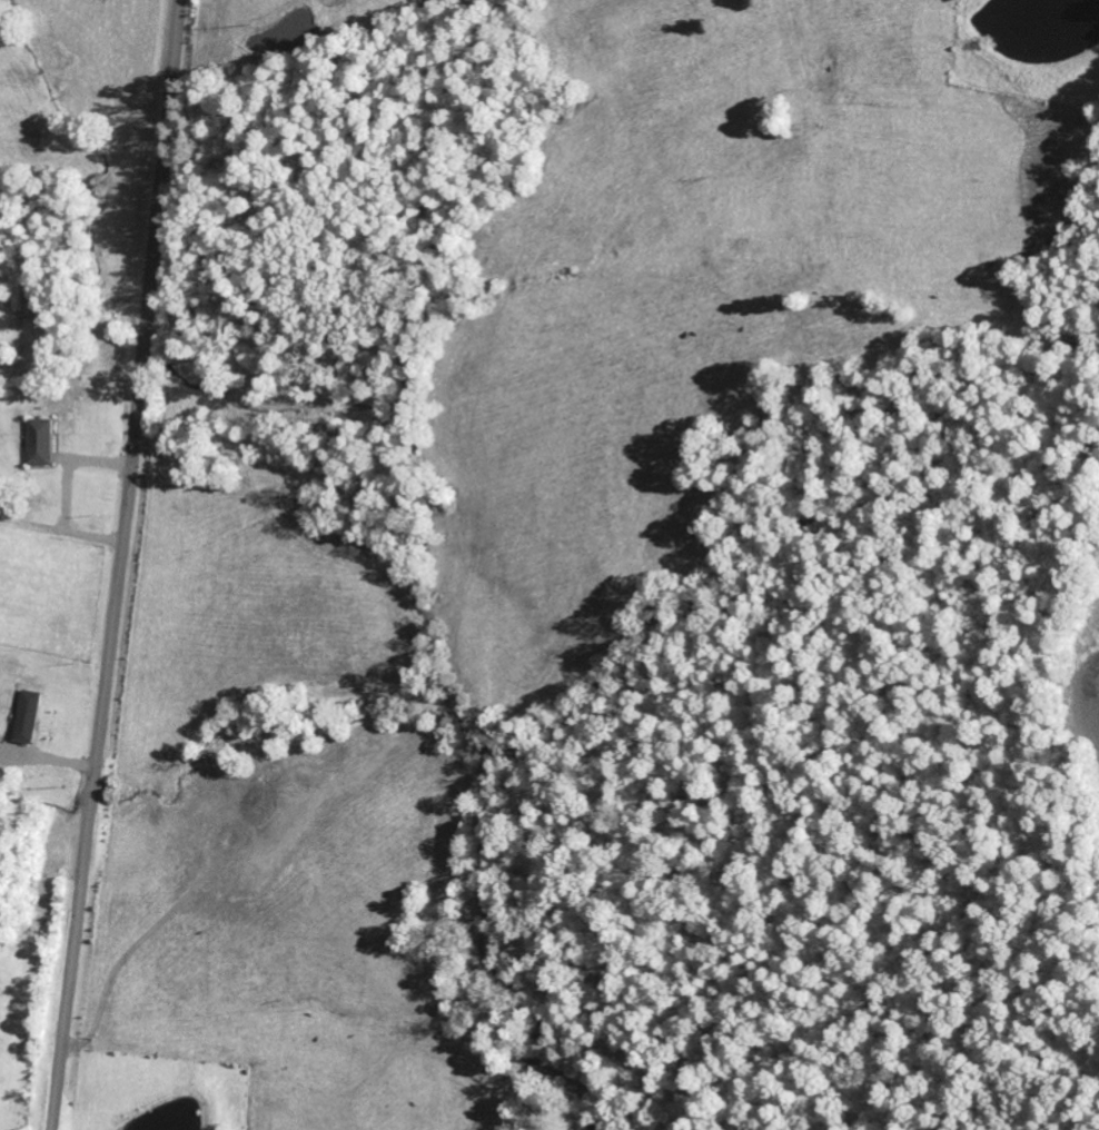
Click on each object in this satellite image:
building: (26, 293)
building: (43, 442)
road: (118, 565)
building: (30, 716)

